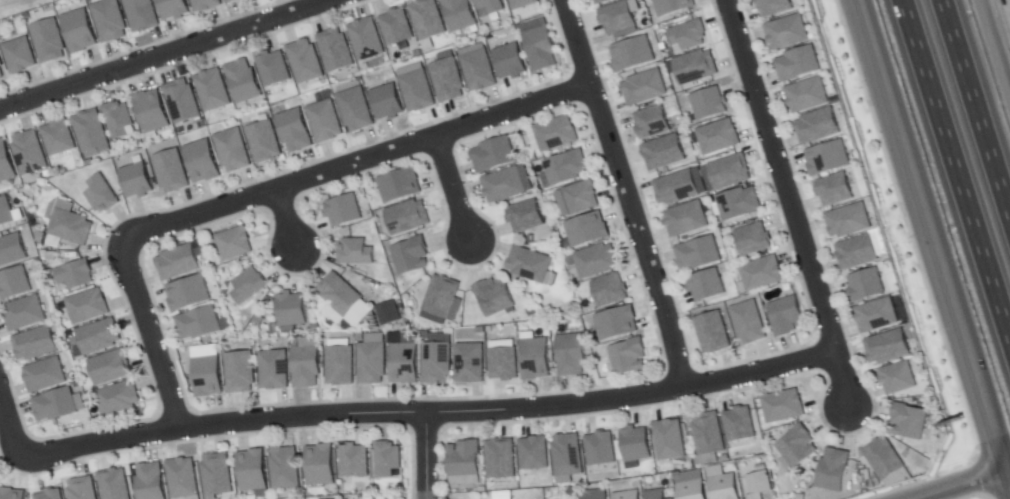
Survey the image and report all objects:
building: (224, 0)
building: (600, 1)
building: (205, 4)
building: (522, 4)
building: (672, 6)
building: (775, 6)
building: (490, 7)
building: (173, 8)
building: (141, 14)
building: (459, 14)
building: (617, 17)
building: (426, 19)
building: (109, 20)
building: (396, 27)
building: (79, 30)
building: (787, 31)
building: (688, 34)
building: (366, 39)
building: (48, 40)
building: (540, 48)
building: (335, 50)
building: (632, 53)
road: (993, 53)
building: (19, 55)
road: (165, 55)
building: (305, 61)
building: (510, 61)
building: (1, 62)
building: (797, 63)
building: (695, 66)
building: (273, 68)
building: (478, 70)
building: (1, 73)
building: (447, 79)
building: (243, 81)
building: (644, 87)
building: (213, 90)
building: (417, 90)
building: (806, 94)
building: (181, 101)
building: (386, 102)
building: (709, 103)
road: (977, 106)
building: (355, 109)
building: (151, 111)
building: (117, 119)
building: (324, 121)
building: (652, 121)
building: (817, 126)
building: (293, 130)
building: (90, 132)
building: (553, 132)
building: (718, 137)
building: (58, 138)
building: (263, 141)
building: (232, 150)
building: (664, 152)
building: (29, 153)
building: (490, 153)
building: (828, 157)
building: (202, 161)
road: (355, 162)
building: (5, 163)
building: (565, 168)
building: (170, 171)
building: (729, 172)
road: (951, 176)
building: (696, 179)
building: (135, 180)
building: (504, 183)
building: (399, 184)
road: (451, 187)
building: (676, 188)
building: (834, 189)
road: (626, 193)
building: (101, 194)
building: (580, 197)
road: (786, 203)
building: (738, 204)
building: (343, 210)
building: (5, 212)
building: (525, 216)
building: (408, 217)
road: (284, 218)
building: (687, 219)
building: (848, 220)
building: (70, 226)
building: (586, 229)
building: (752, 239)
road: (935, 242)
building: (234, 243)
building: (11, 249)
building: (355, 252)
building: (856, 252)
building: (698, 254)
building: (411, 256)
building: (596, 261)
building: (178, 263)
building: (528, 263)
building: (761, 273)
building: (75, 274)
building: (14, 284)
building: (866, 284)
building: (706, 285)
building: (248, 286)
building: (609, 290)
building: (188, 293)
building: (339, 293)
building: (441, 297)
building: (495, 297)
building: (87, 306)
building: (290, 309)
building: (24, 313)
building: (387, 314)
building: (876, 315)
building: (786, 316)
building: (336, 318)
building: (748, 322)
building: (198, 323)
building: (617, 323)
building: (713, 332)
road: (151, 335)
building: (97, 337)
building: (34, 344)
building: (887, 347)
building: (571, 355)
building: (629, 356)
building: (503, 359)
building: (536, 359)
building: (436, 362)
building: (371, 363)
building: (404, 363)
building: (470, 363)
building: (339, 365)
building: (109, 367)
building: (304, 367)
building: (273, 370)
building: (239, 372)
building: (43, 375)
building: (207, 376)
building: (898, 378)
building: (117, 398)
building: (54, 404)
building: (782, 406)
road: (428, 412)
building: (909, 421)
building: (739, 424)
road: (10, 426)
building: (708, 434)
building: (670, 440)
building: (636, 444)
building: (797, 446)
building: (600, 449)
building: (534, 454)
building: (567, 455)
road: (426, 456)
building: (500, 458)
building: (464, 459)
building: (884, 459)
building: (354, 460)
building: (388, 461)
building: (321, 465)
building: (284, 468)
building: (834, 470)
building: (251, 471)
building: (217, 475)
building: (183, 478)
building: (462, 479)
building: (150, 481)
road: (960, 484)
building: (114, 485)
building: (758, 485)
building: (724, 487)
building: (81, 488)
building: (692, 489)
building: (11, 494)
building: (49, 494)
building: (656, 494)
building: (627, 495)
building: (594, 496)
building: (669, 498)

